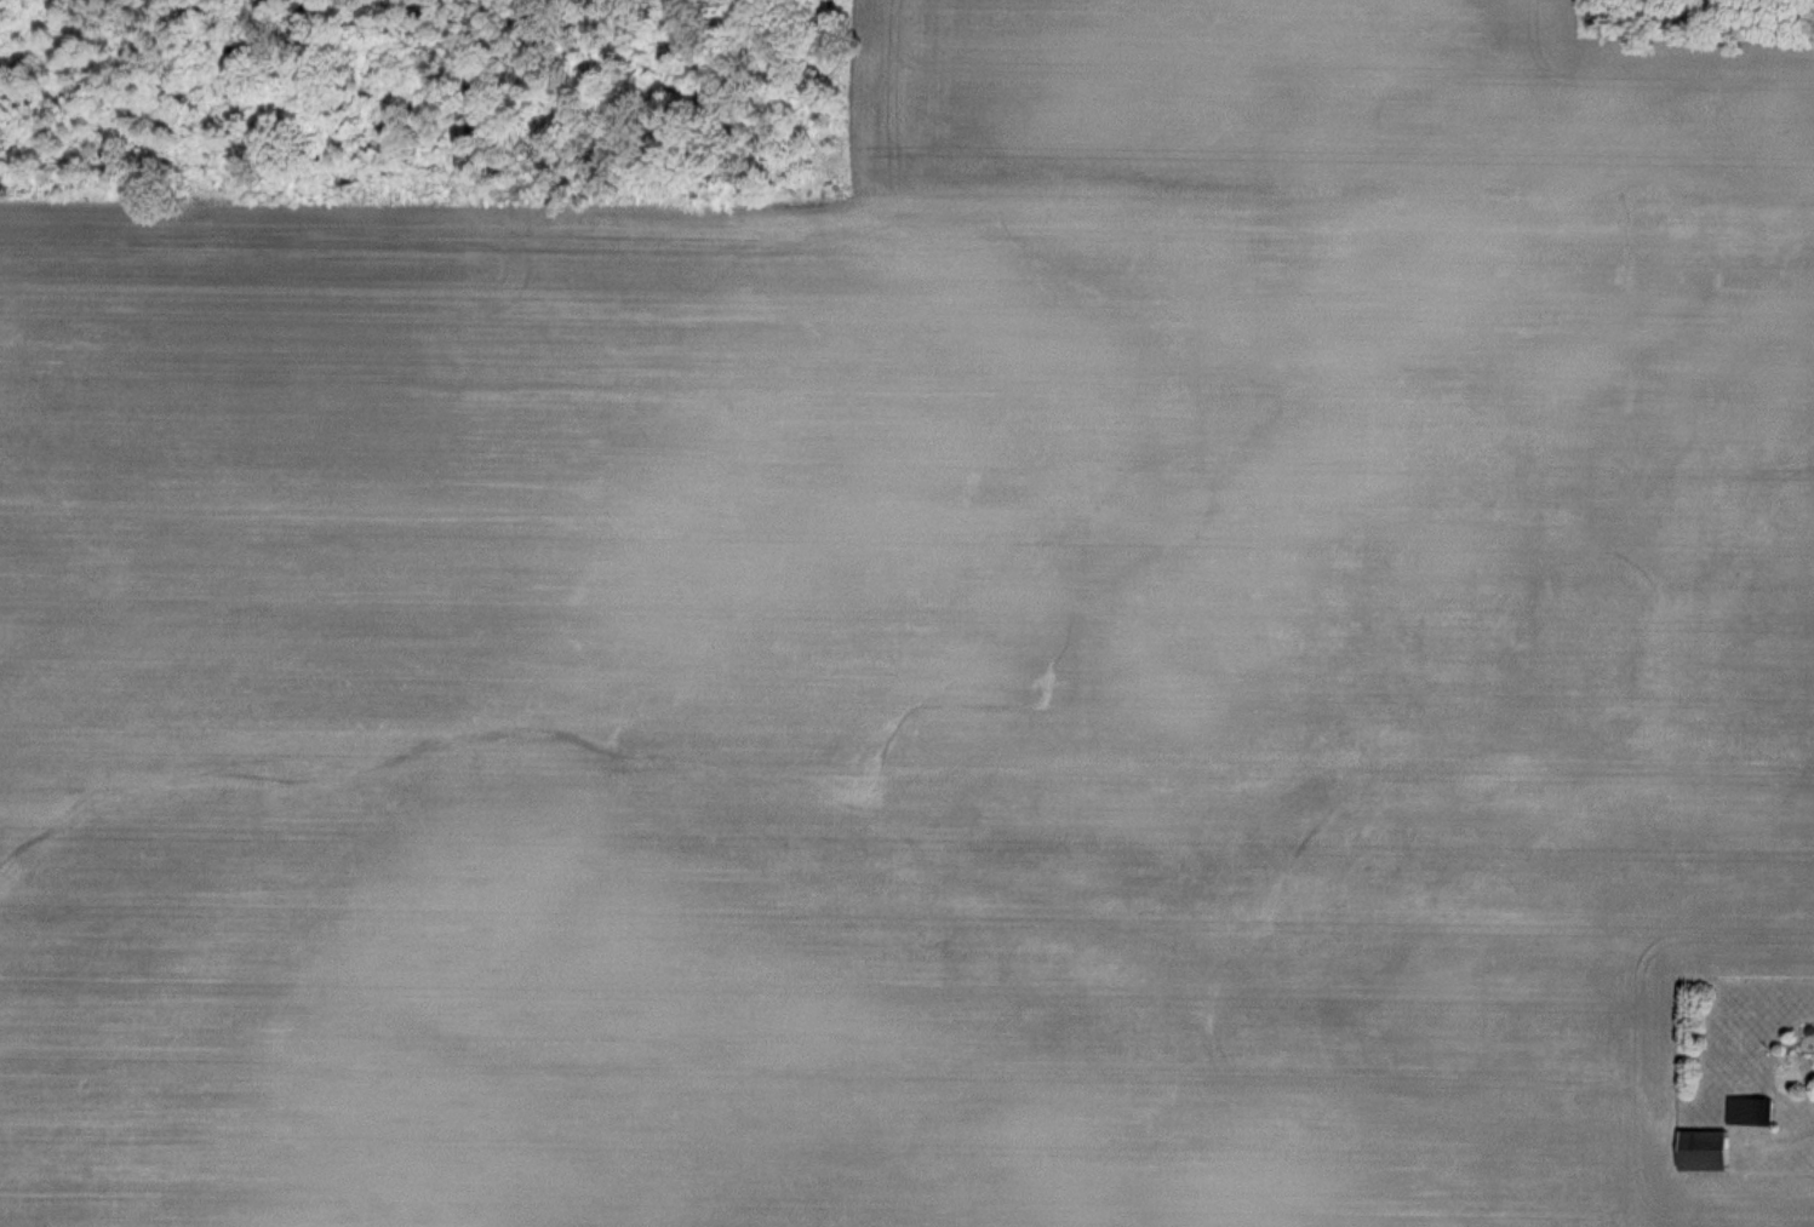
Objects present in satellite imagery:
building: (1752, 1111)
building: (1710, 1151)

